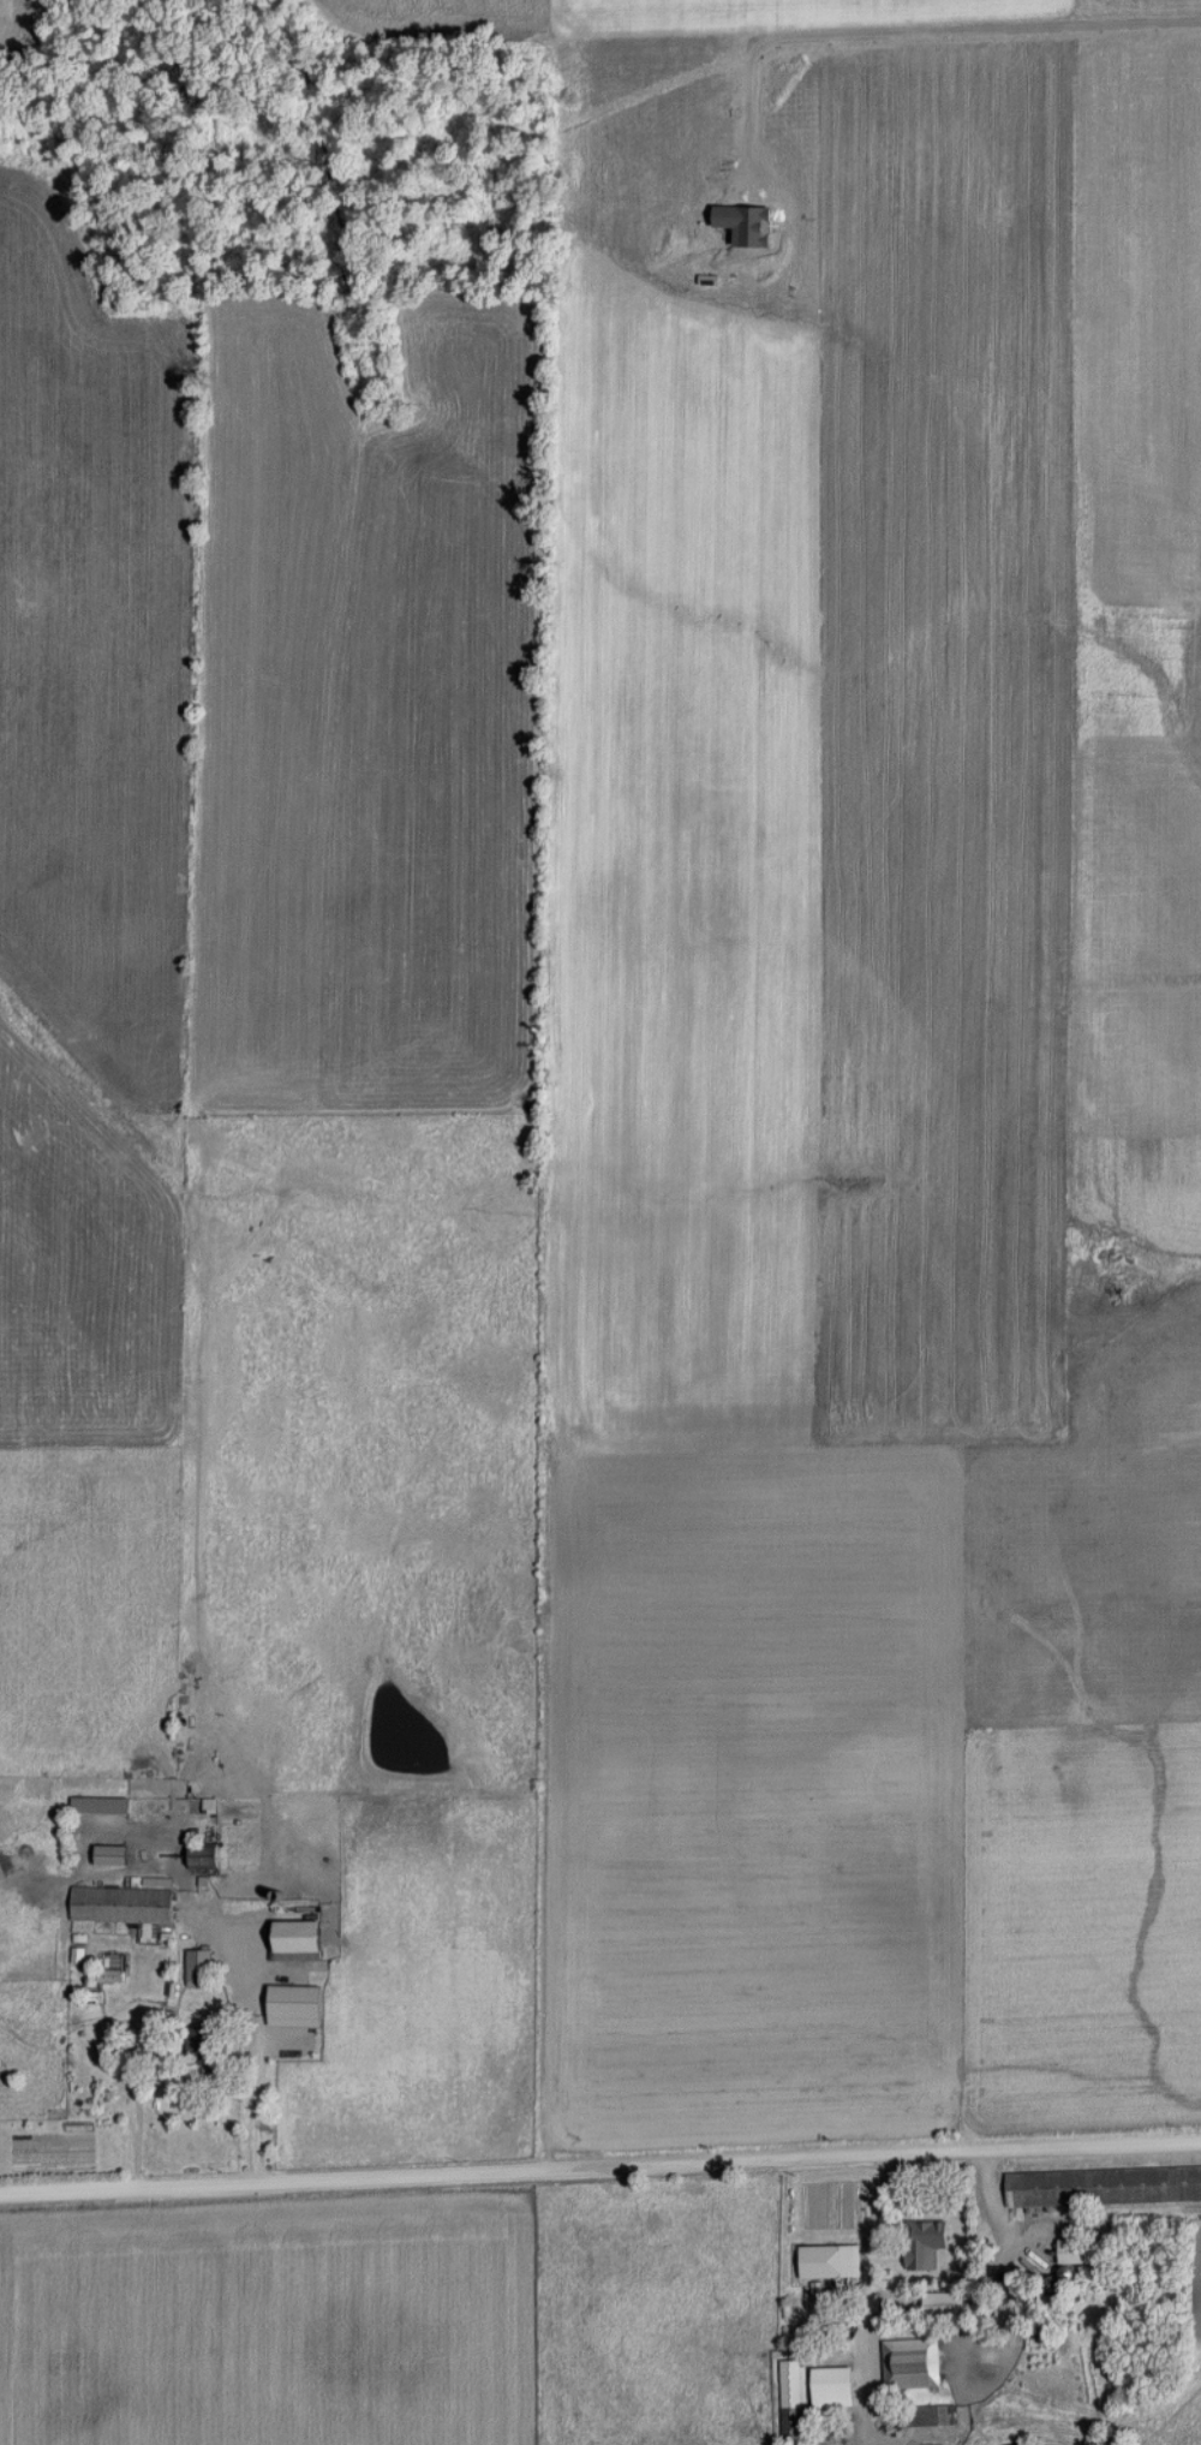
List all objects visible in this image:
building: (1113, 1268)
building: (101, 1805)
building: (210, 1806)
building: (113, 1855)
building: (204, 1855)
building: (123, 1904)
building: (300, 1942)
building: (199, 1968)
building: (295, 2002)
road: (256, 2053)
road: (133, 2117)
road: (600, 2178)
building: (1103, 2185)
road: (992, 2199)
building: (933, 2231)
building: (1085, 2249)
building: (837, 2260)
road: (870, 2301)
building: (944, 2303)
building: (913, 2362)
building: (832, 2387)
building: (790, 2399)
building: (930, 2415)

